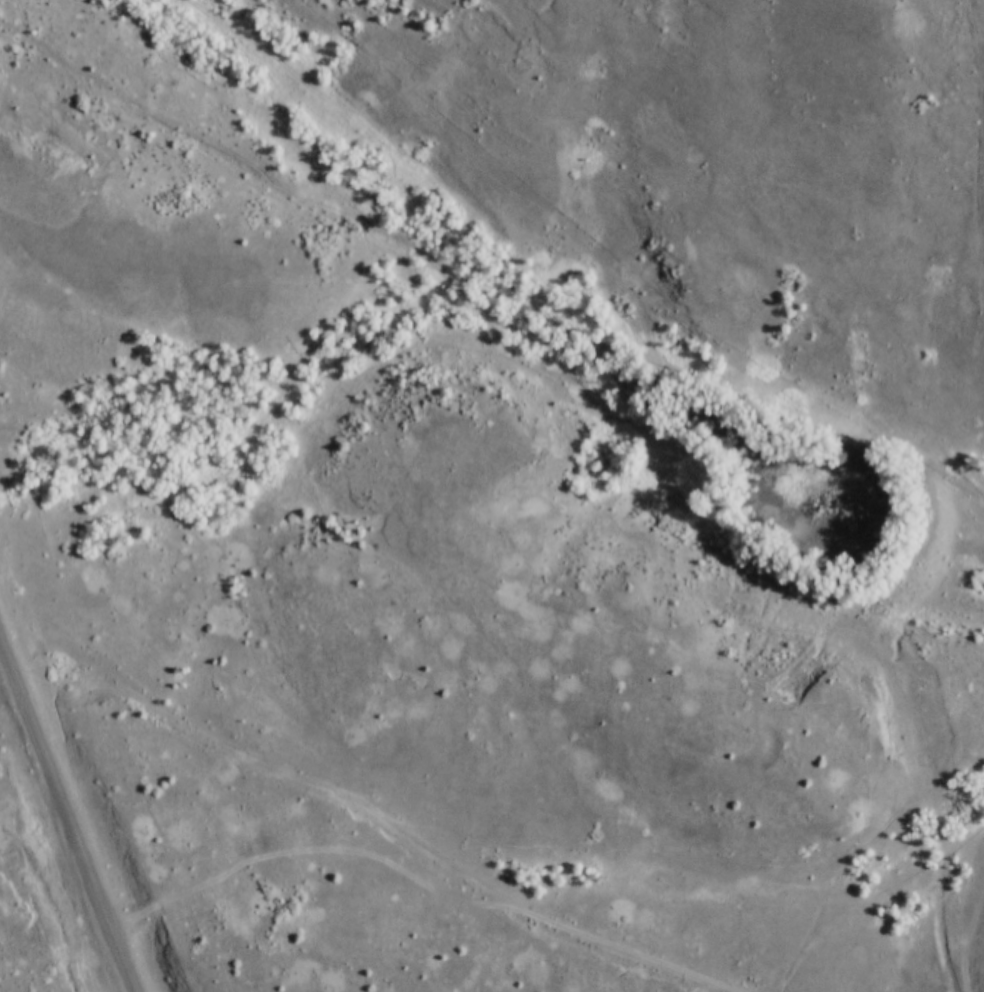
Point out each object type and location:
road: (66, 815)
road: (384, 819)
road: (974, 951)

